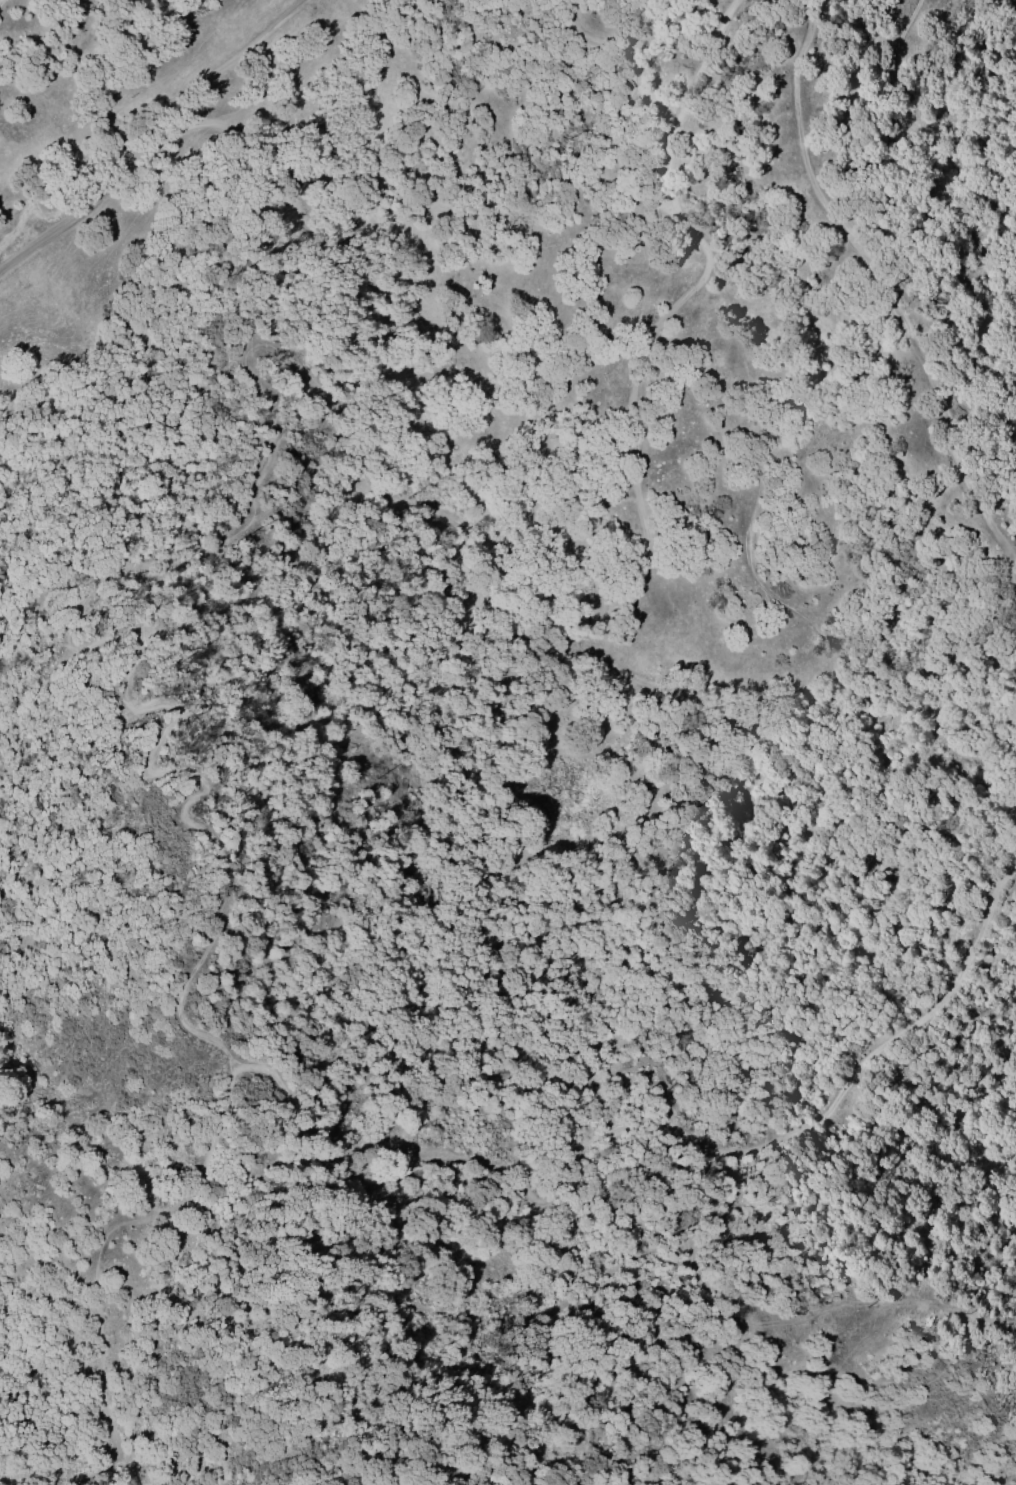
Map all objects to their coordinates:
road: (226, 894)
road: (853, 1068)
road: (529, 1154)
road: (170, 1214)

